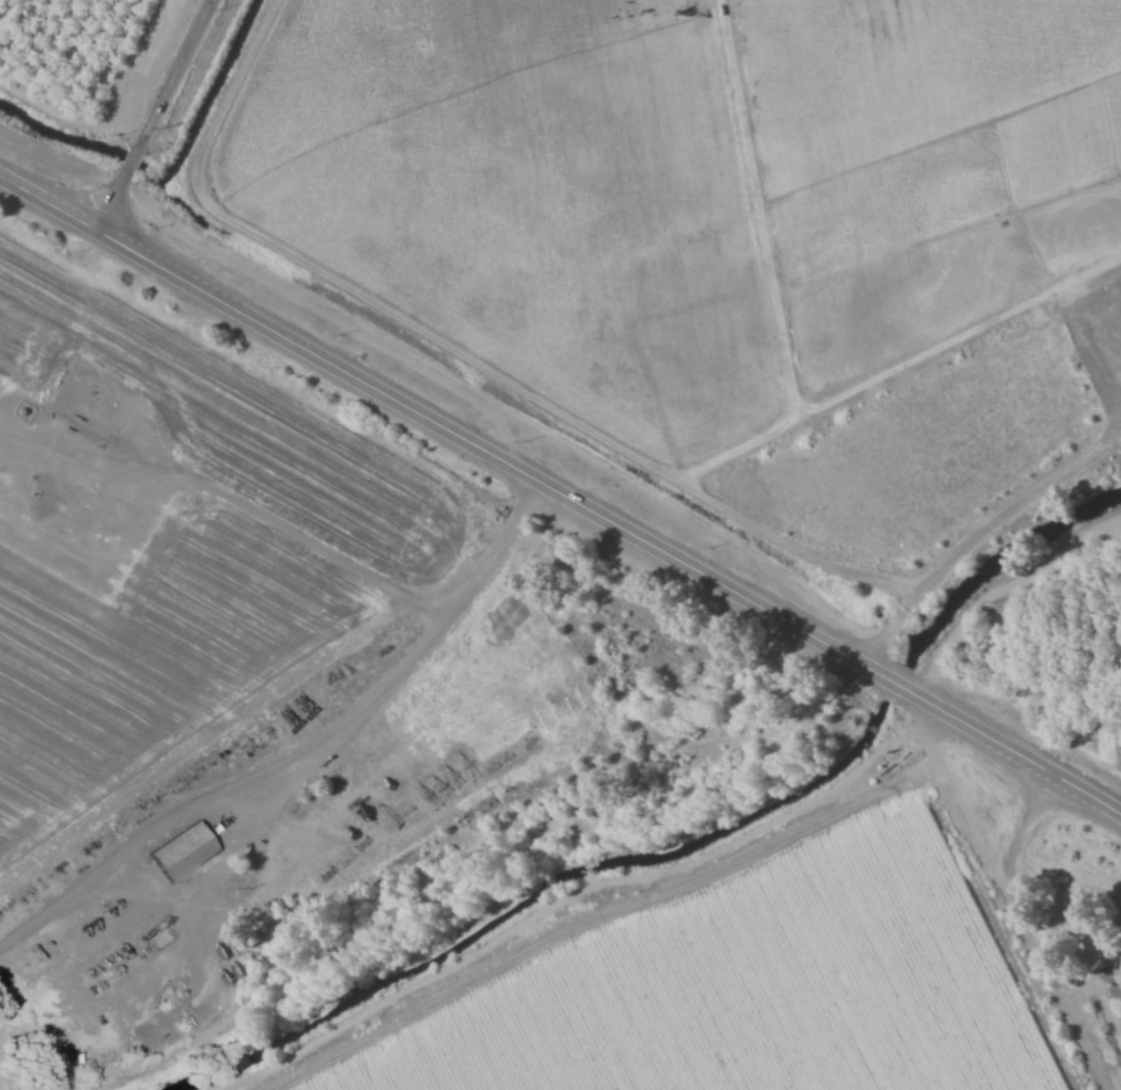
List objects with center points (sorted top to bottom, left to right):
road: (159, 116)
road: (1038, 488)
road: (560, 493)
road: (907, 604)
road: (298, 784)
building: (182, 851)
road: (1033, 933)

